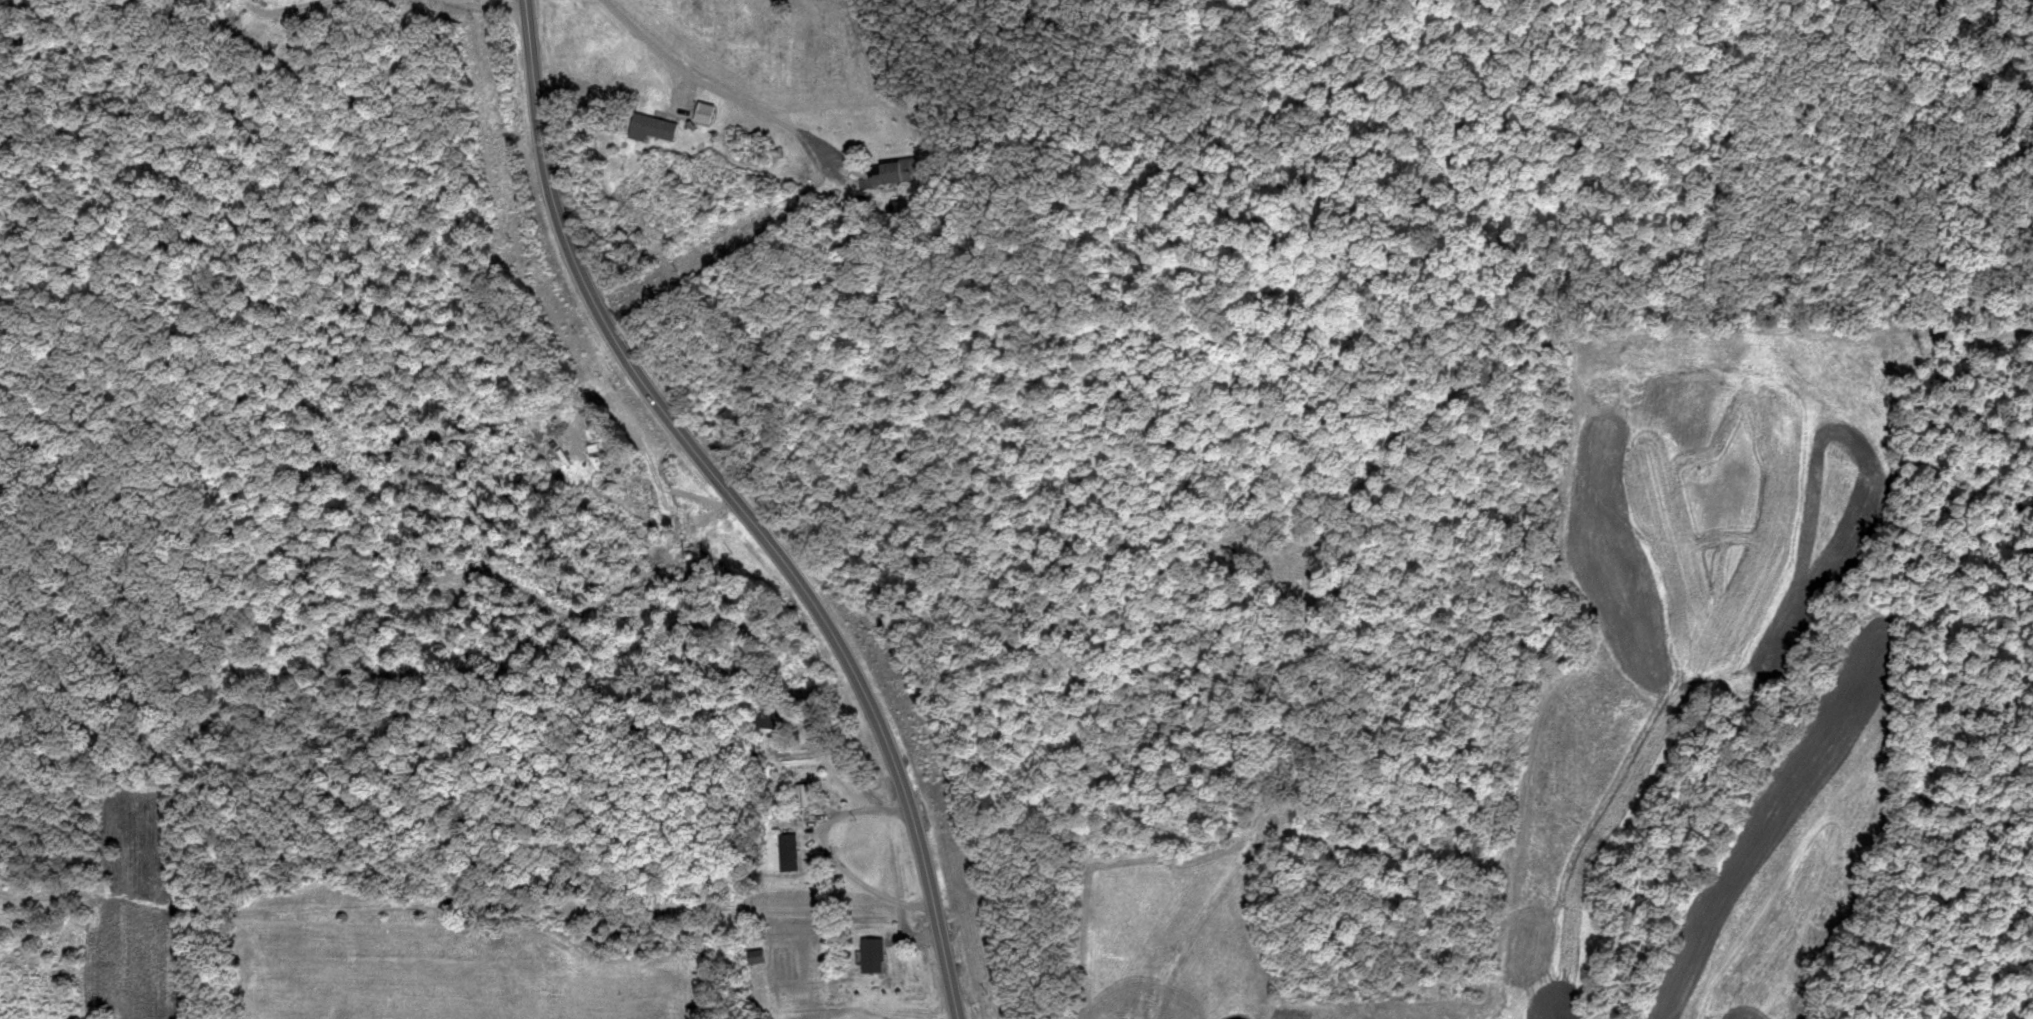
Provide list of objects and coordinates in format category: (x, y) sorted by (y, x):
building: (256, 0)
road: (289, 0)
road: (489, 7)
road: (724, 95)
building: (700, 110)
building: (653, 128)
building: (900, 171)
road: (740, 506)
building: (803, 796)
road: (855, 812)
building: (789, 853)
building: (874, 956)
building: (756, 957)

